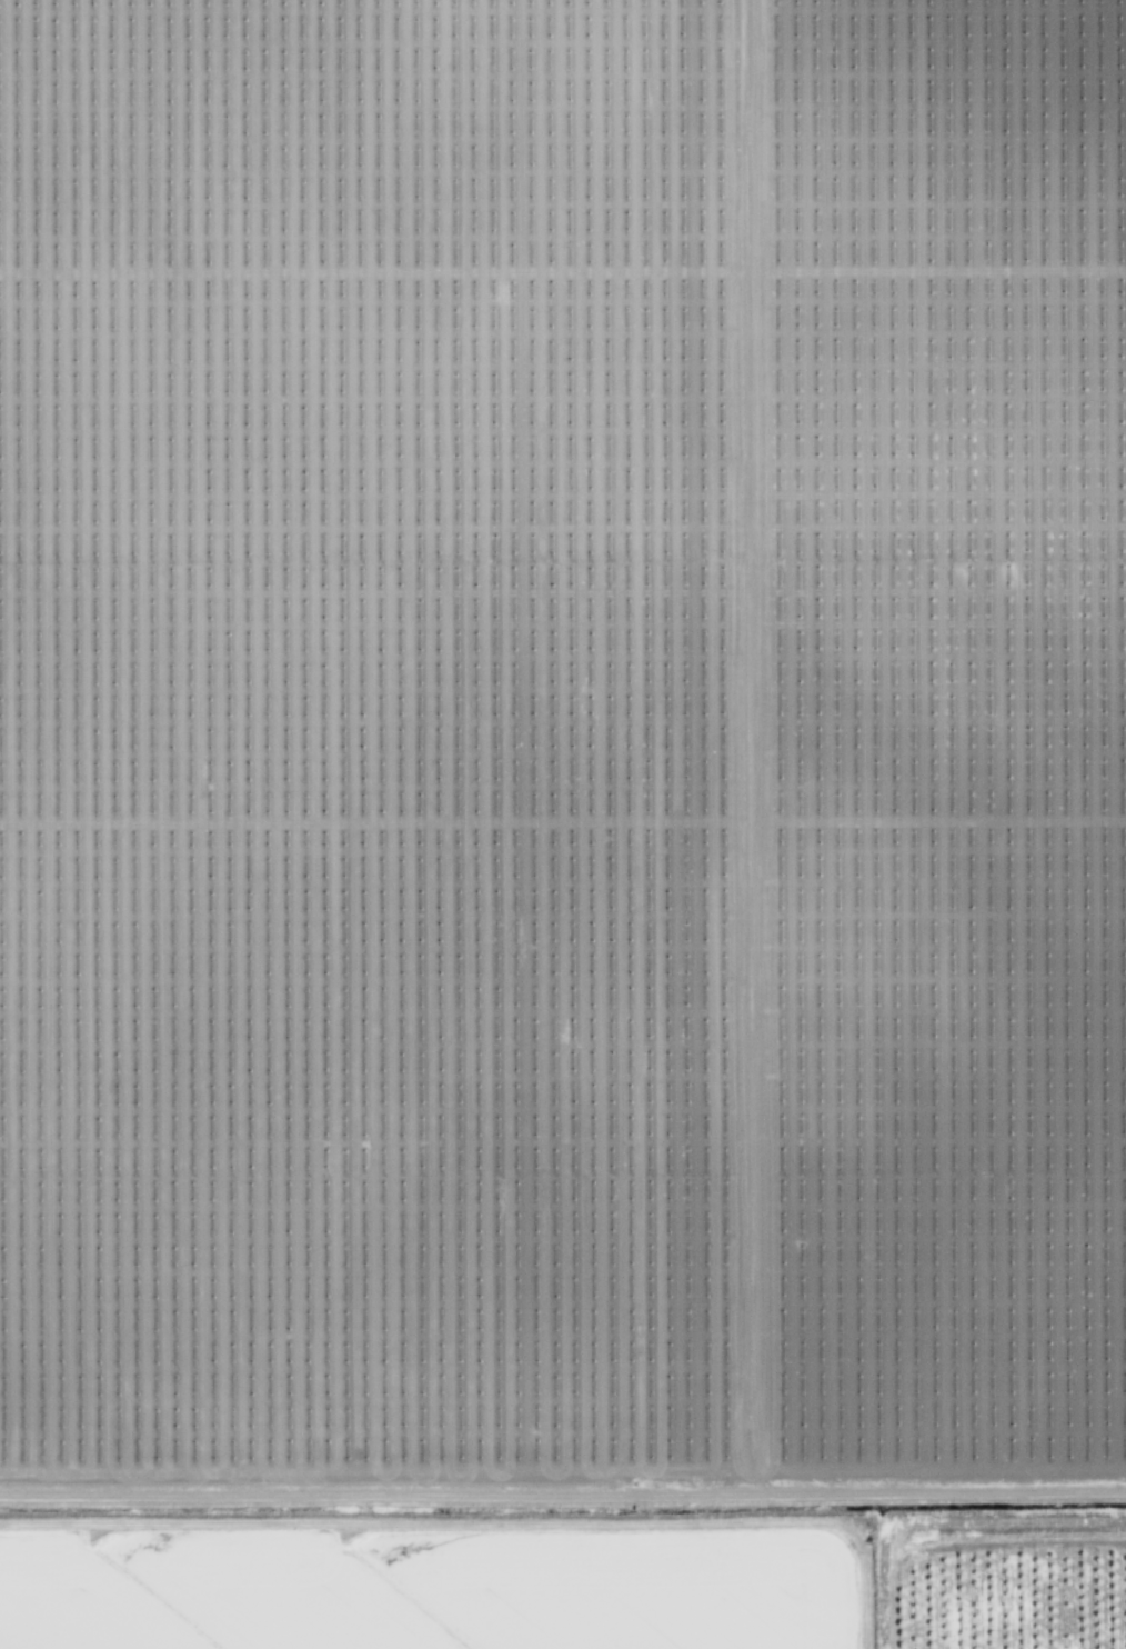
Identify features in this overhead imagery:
road: (486, 1523)

